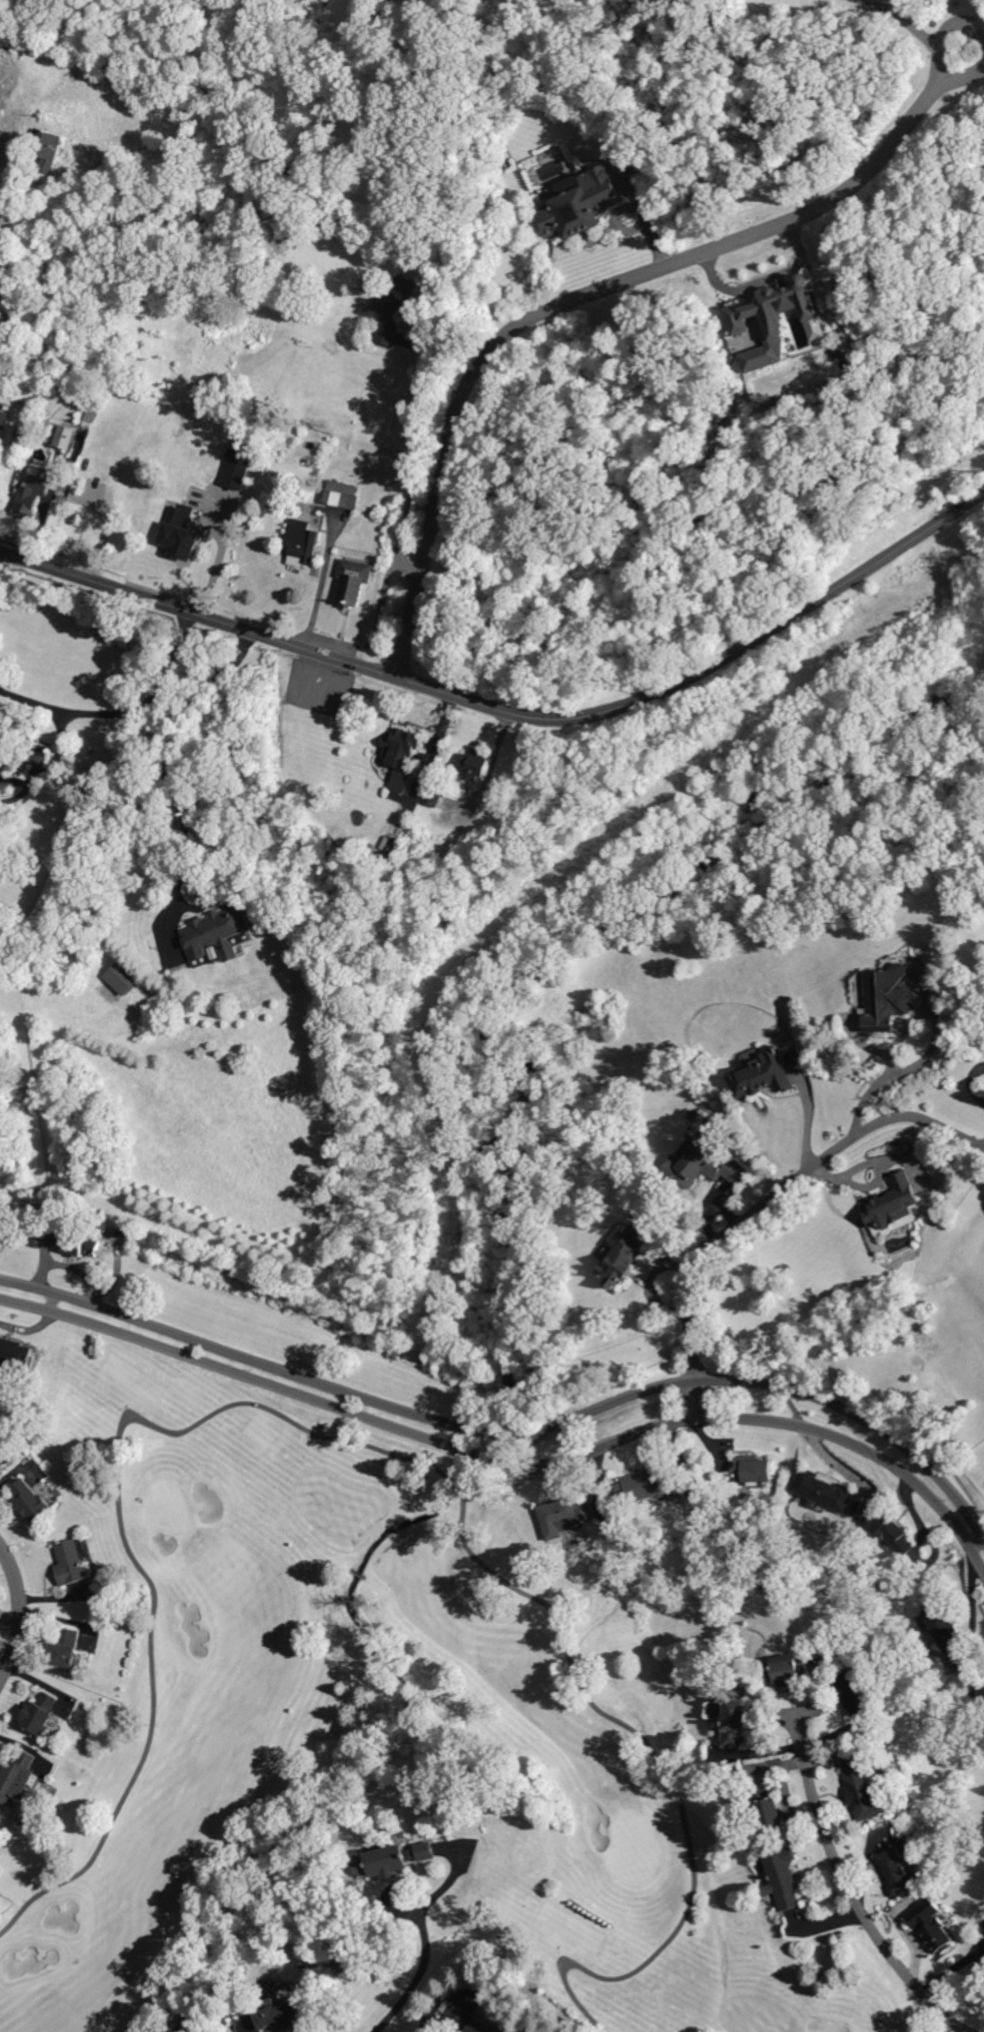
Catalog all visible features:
road: (978, 23)
road: (924, 32)
building: (47, 150)
building: (581, 204)
road: (472, 219)
road: (768, 281)
road: (596, 287)
building: (395, 310)
building: (773, 321)
building: (4, 418)
building: (24, 432)
building: (64, 437)
building: (238, 474)
building: (343, 494)
building: (31, 497)
building: (178, 533)
building: (301, 542)
road: (216, 564)
building: (354, 580)
road: (319, 597)
road: (510, 712)
road: (126, 714)
building: (2, 718)
building: (0, 734)
building: (41, 757)
building: (402, 757)
building: (473, 764)
road: (172, 777)
building: (432, 798)
building: (1, 916)
building: (217, 931)
building: (122, 979)
building: (888, 999)
building: (2, 1040)
building: (762, 1075)
road: (972, 1083)
building: (703, 1167)
road: (771, 1203)
building: (893, 1203)
building: (77, 1240)
building: (621, 1259)
building: (784, 1270)
building: (15, 1357)
road: (320, 1433)
road: (514, 1433)
park: (537, 1457)
road: (513, 1461)
building: (753, 1471)
building: (648, 1488)
building: (823, 1490)
building: (33, 1500)
building: (565, 1515)
building: (891, 1533)
building: (71, 1562)
road: (350, 1567)
road: (358, 1572)
road: (365, 1577)
road: (20, 1611)
building: (746, 1626)
building: (945, 1628)
building: (66, 1648)
building: (788, 1670)
building: (981, 1687)
building: (855, 1692)
building: (41, 1713)
building: (734, 1722)
building: (17, 1777)
building: (863, 1793)
building: (766, 1811)
building: (397, 1861)
building: (897, 1871)
building: (784, 1879)
road: (850, 1887)
building: (931, 1927)
building: (982, 1964)
road: (419, 1976)
road: (560, 1978)
road: (585, 2009)
building: (281, 2019)
building: (468, 2020)
road: (428, 2024)

